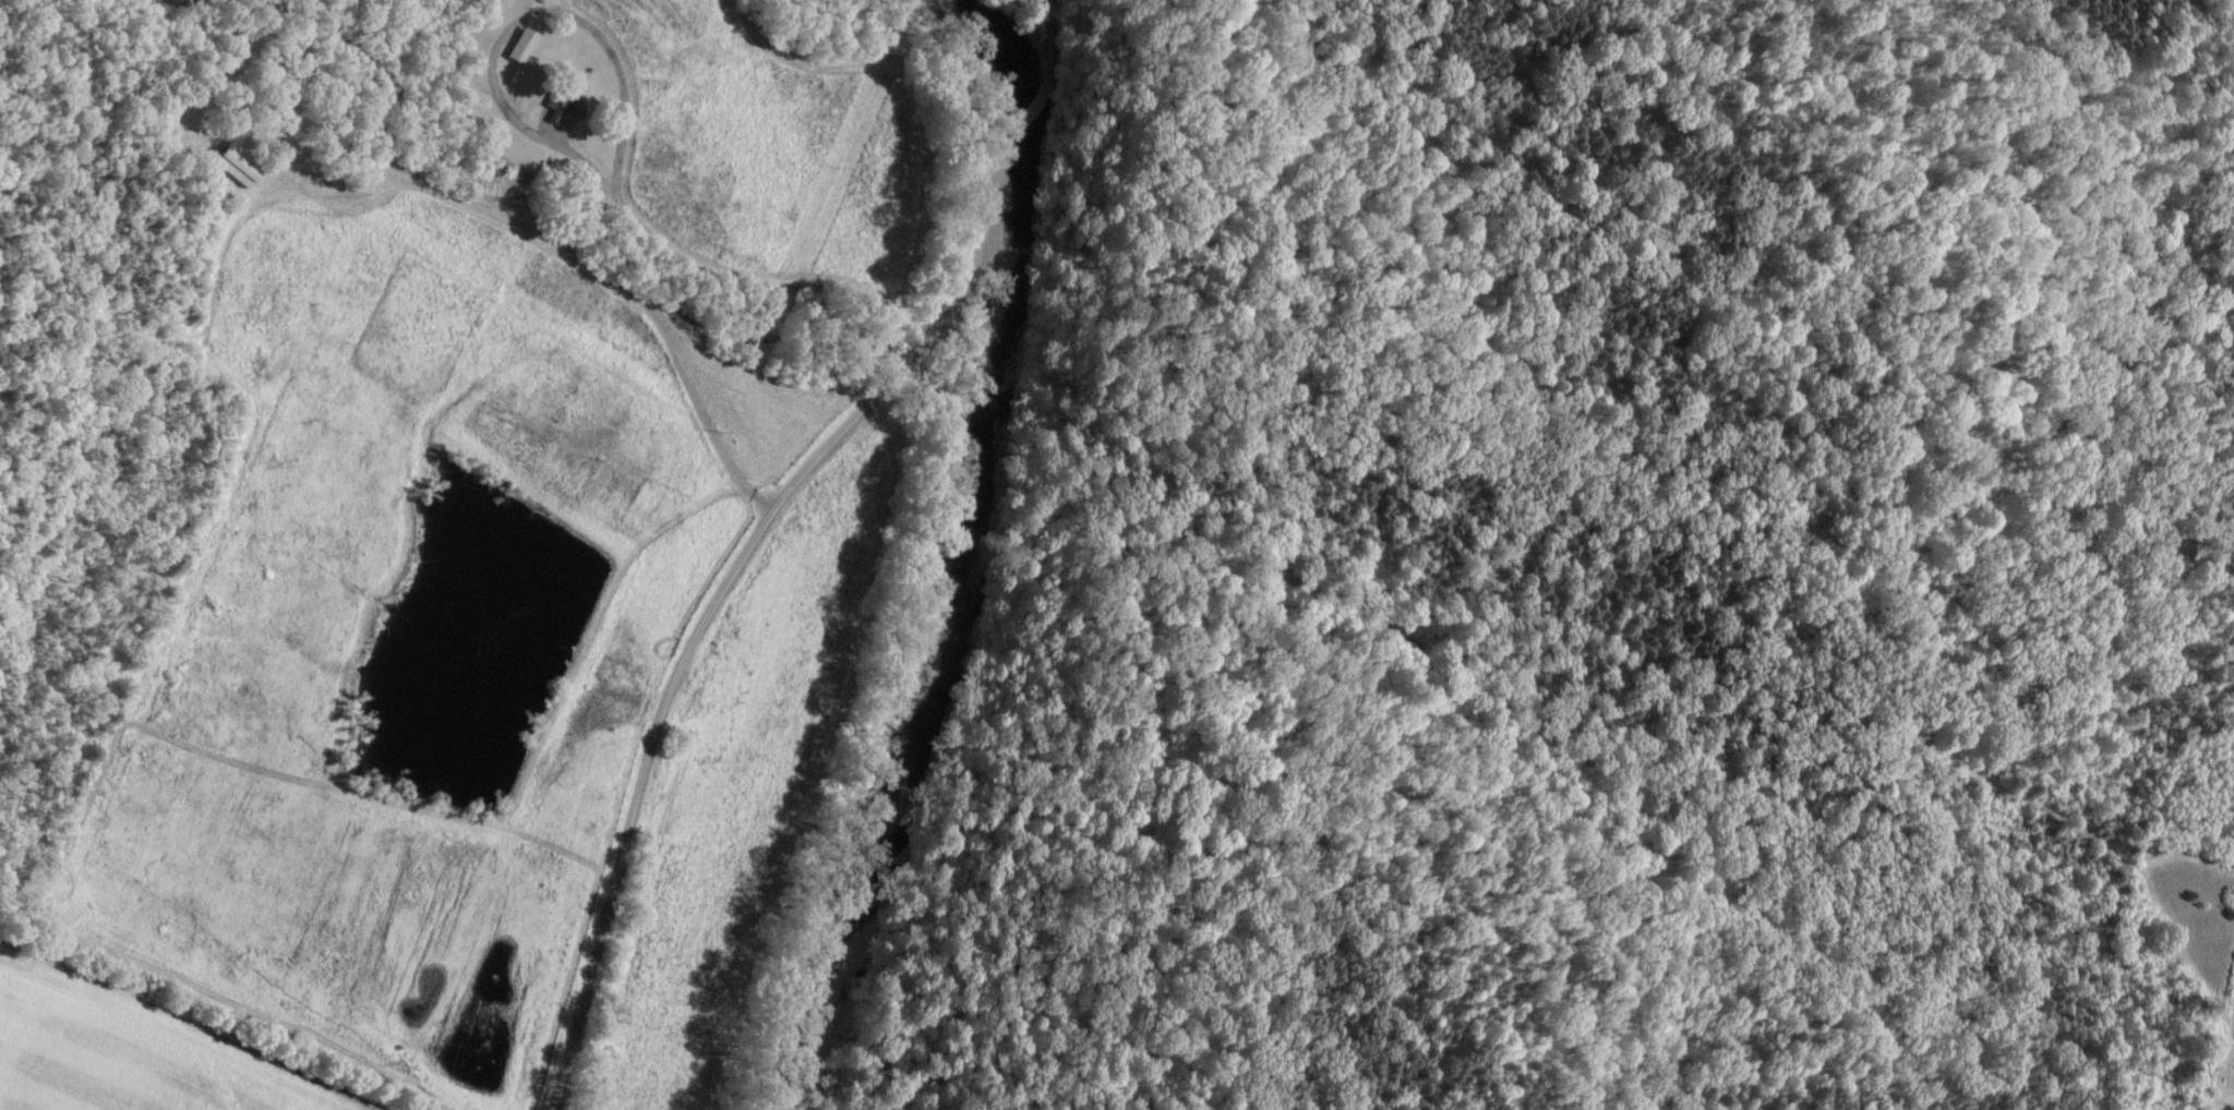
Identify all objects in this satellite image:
building: (517, 48)
road: (493, 77)
building: (516, 82)
crop: (704, 135)
building: (230, 166)
road: (750, 543)
river: (977, 557)
crop: (447, 680)

